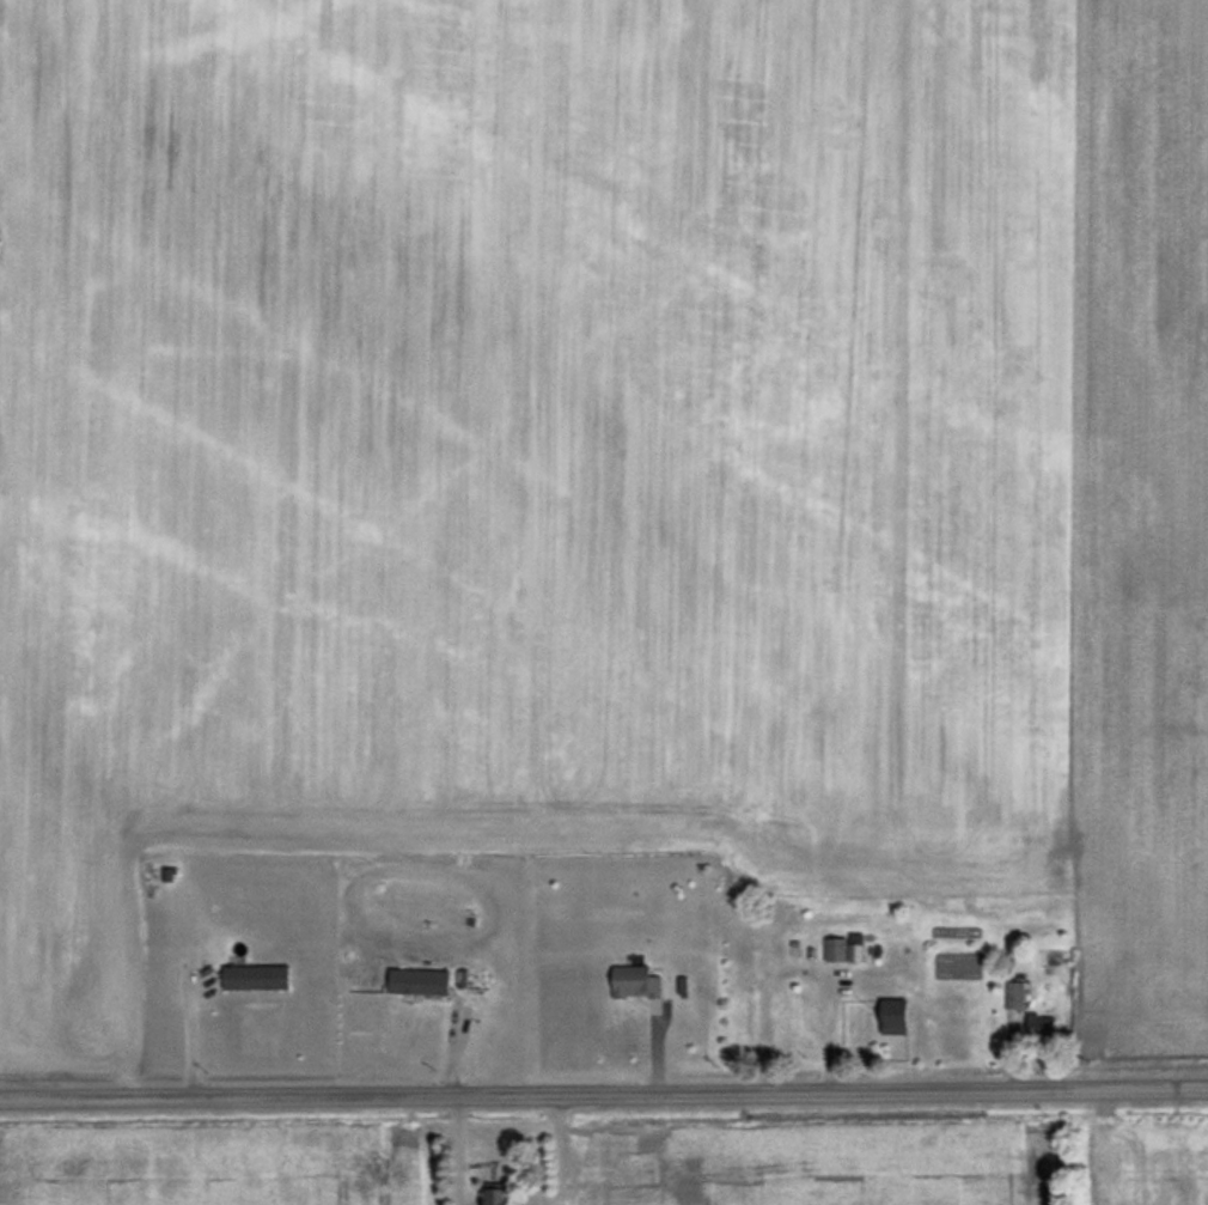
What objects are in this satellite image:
crop: (605, 458)
building: (844, 949)
building: (254, 976)
building: (634, 981)
building: (419, 982)
building: (1014, 996)
building: (893, 1017)
building: (1038, 1023)
road: (603, 1091)
road: (453, 1149)
building: (495, 1197)

